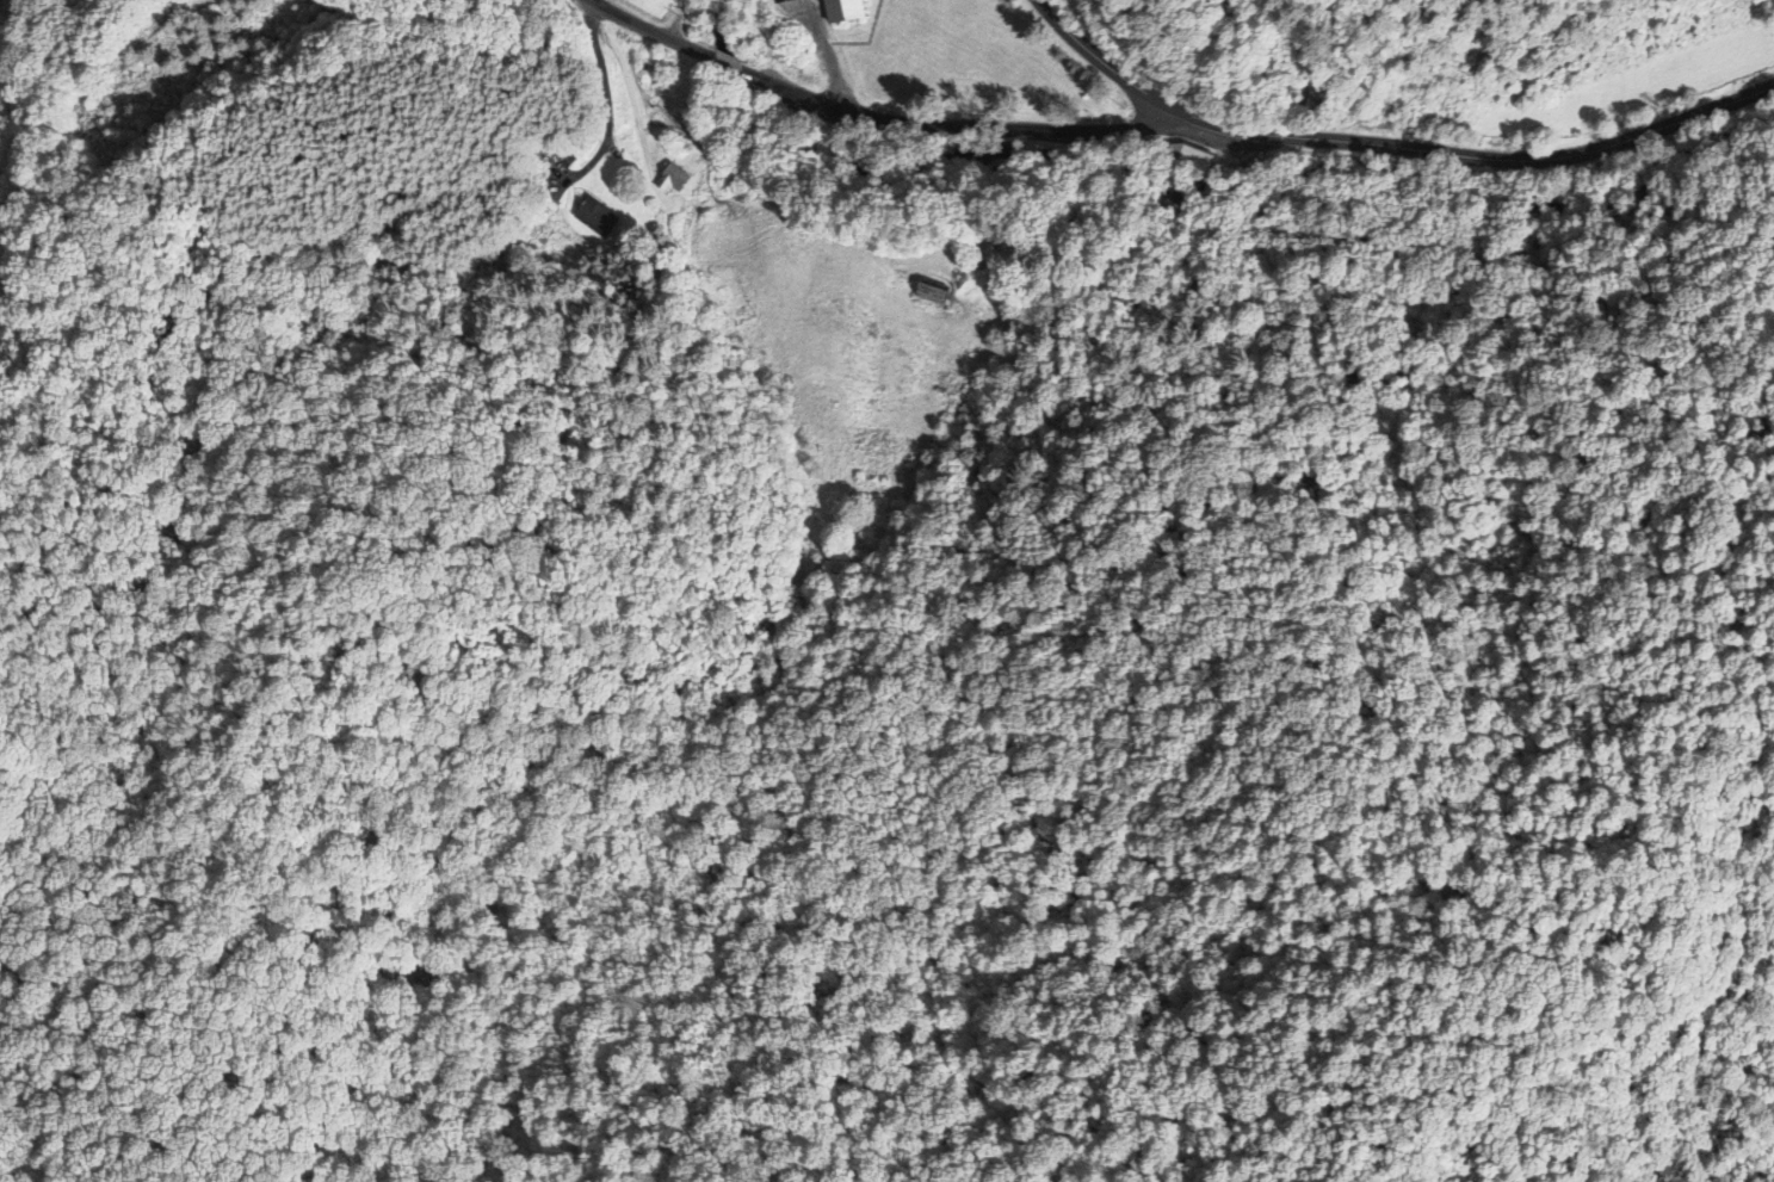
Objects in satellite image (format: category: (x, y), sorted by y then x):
road: (676, 21)
road: (647, 31)
road: (729, 67)
road: (601, 103)
road: (959, 132)
road: (1390, 148)
road: (1729, 838)
road: (1484, 1102)

